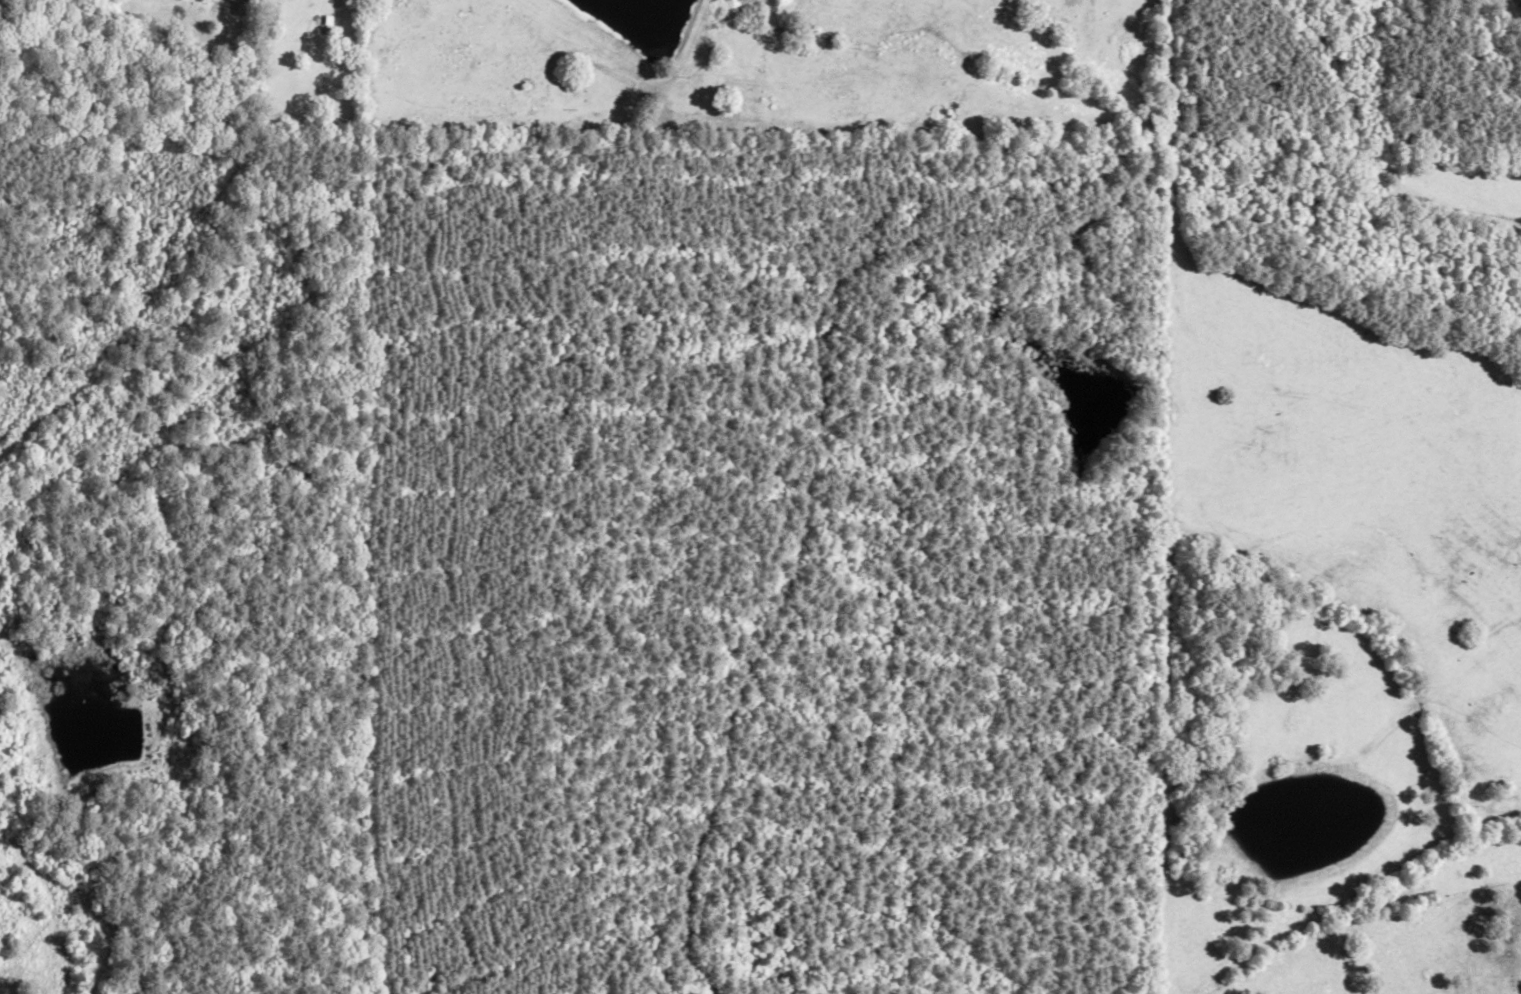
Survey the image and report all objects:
road: (1519, 1)

